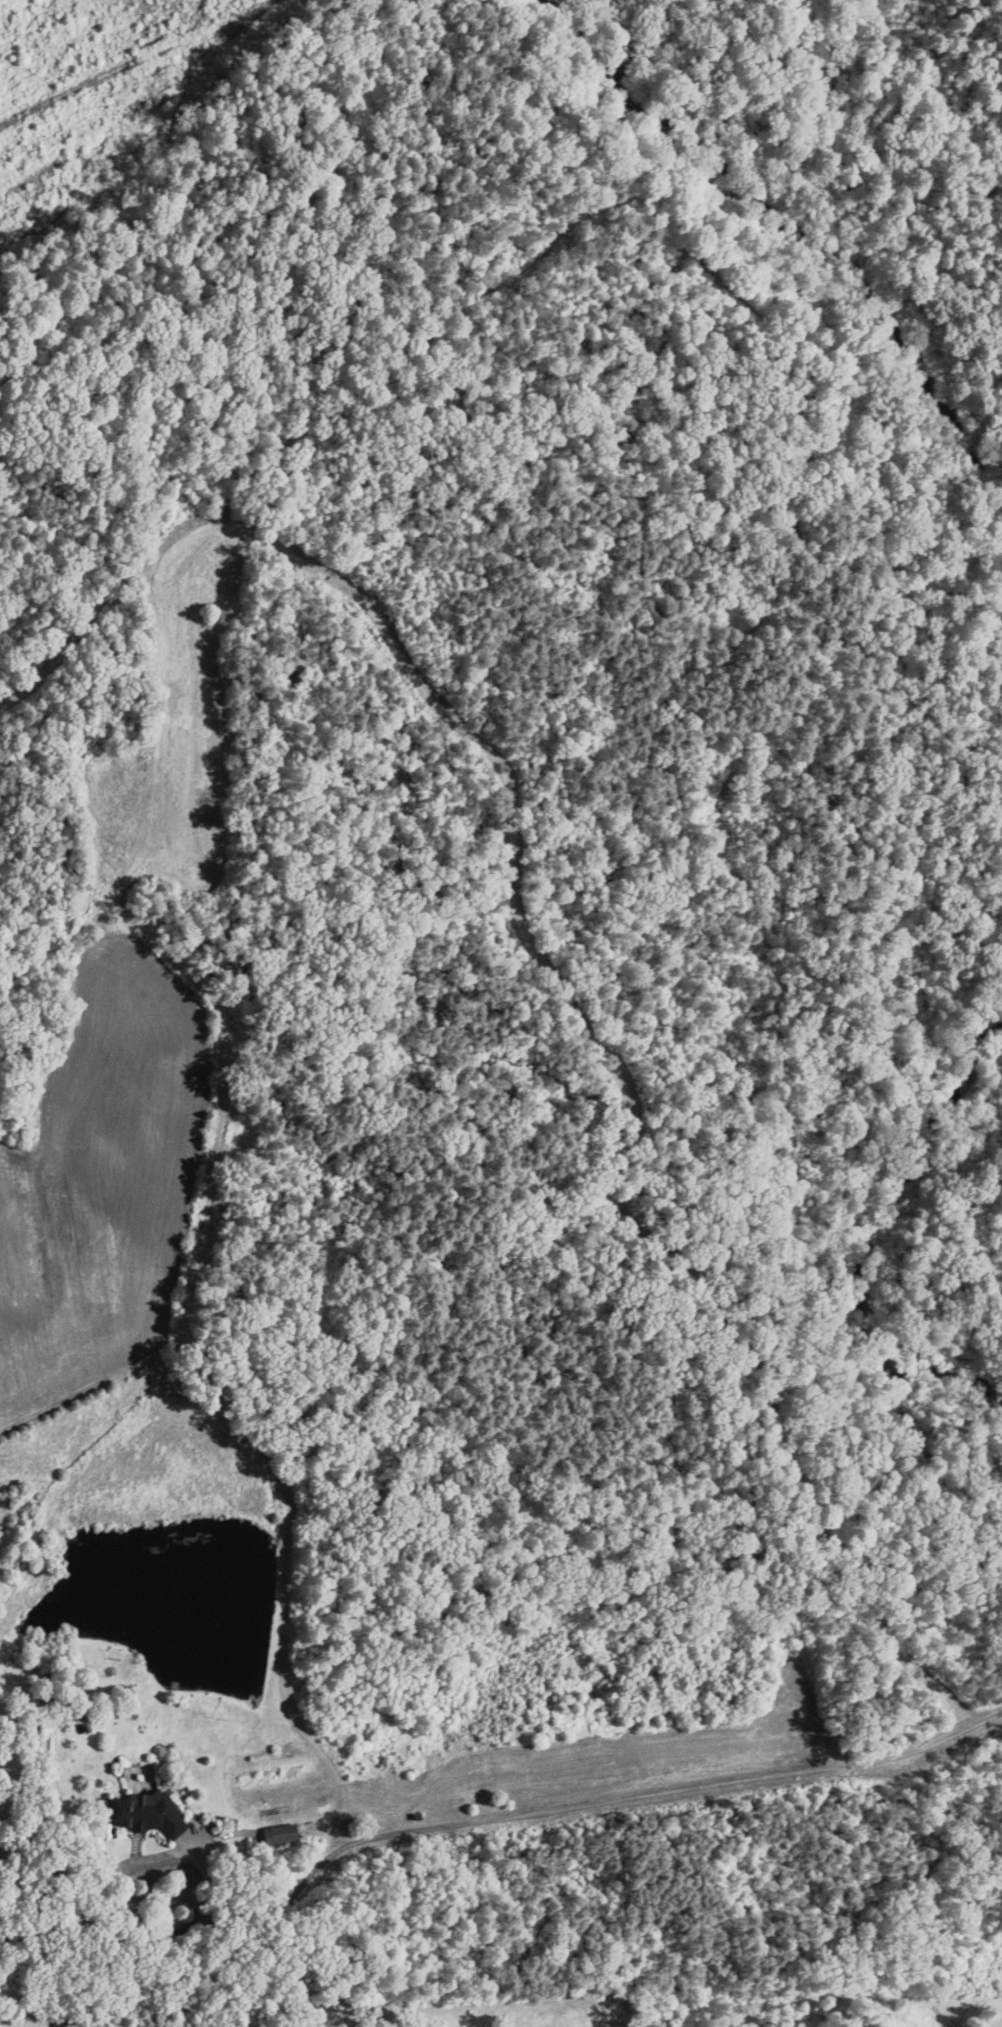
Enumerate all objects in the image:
building: (142, 1812)
building: (279, 1833)
road: (212, 1877)
road: (33, 1929)

